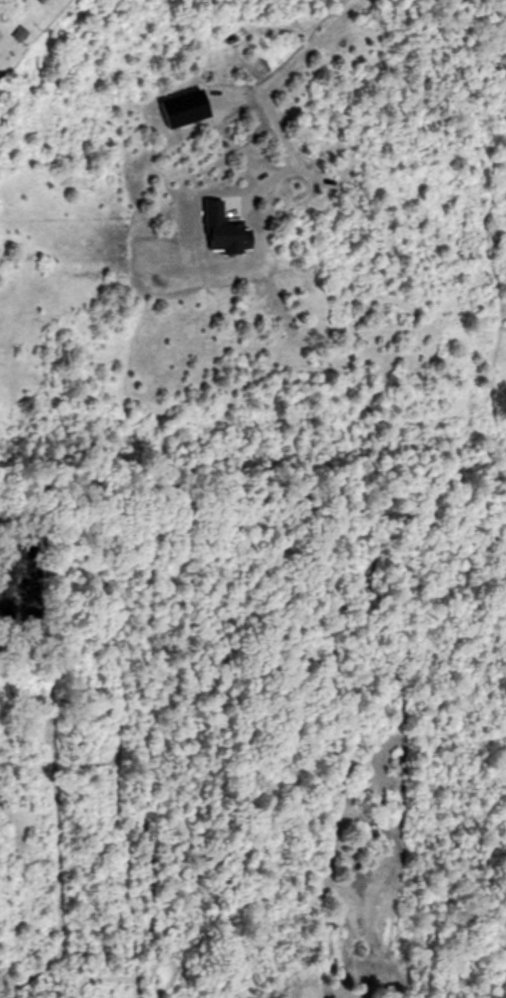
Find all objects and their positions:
road: (261, 97)

